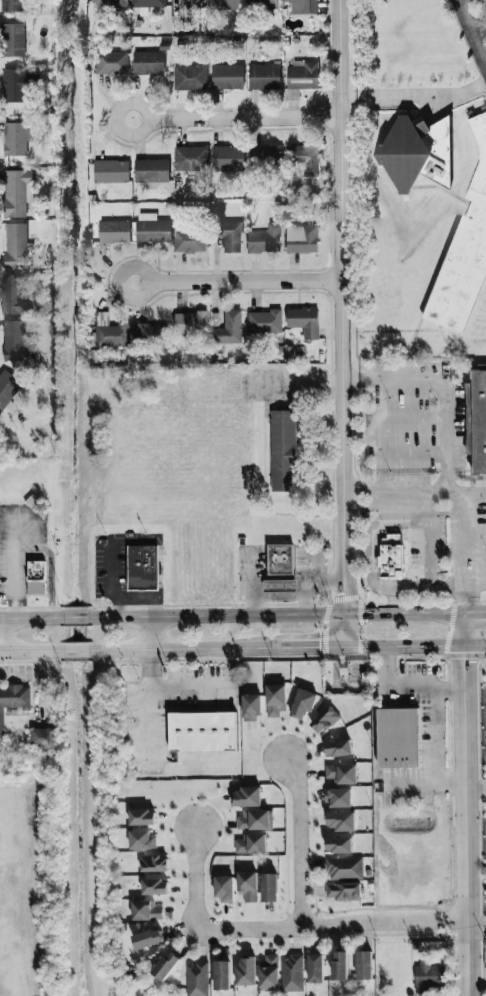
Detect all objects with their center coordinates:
building: (106, 1)
building: (145, 2)
building: (260, 3)
building: (223, 4)
building: (10, 5)
building: (302, 6)
road: (478, 23)
road: (473, 31)
building: (11, 38)
road: (485, 60)
building: (146, 61)
building: (109, 62)
building: (225, 75)
building: (262, 75)
building: (188, 76)
building: (298, 77)
building: (12, 83)
road: (414, 93)
road: (238, 116)
building: (13, 137)
building: (413, 151)
building: (265, 152)
building: (188, 156)
building: (226, 156)
building: (302, 156)
building: (149, 168)
building: (109, 170)
building: (15, 191)
building: (150, 227)
building: (112, 230)
building: (230, 235)
building: (265, 238)
building: (301, 238)
building: (189, 241)
building: (13, 245)
building: (465, 246)
road: (238, 281)
building: (15, 295)
road: (342, 306)
building: (304, 321)
building: (192, 322)
building: (264, 322)
building: (230, 328)
building: (110, 332)
building: (150, 334)
building: (14, 340)
building: (7, 388)
road: (443, 388)
road: (408, 416)
road: (370, 417)
building: (476, 421)
building: (283, 451)
road: (408, 454)
road: (413, 493)
road: (469, 553)
building: (390, 557)
road: (430, 558)
building: (280, 559)
road: (16, 564)
road: (51, 567)
building: (142, 567)
building: (36, 577)
road: (111, 580)
road: (478, 584)
building: (286, 586)
road: (398, 586)
road: (142, 600)
traffic signals: (344, 613)
road: (415, 613)
road: (215, 614)
road: (75, 617)
road: (31, 618)
road: (344, 630)
road: (150, 633)
road: (415, 646)
road: (310, 647)
traffic signals: (345, 647)
road: (183, 649)
road: (76, 650)
road: (31, 651)
road: (173, 687)
road: (407, 687)
building: (276, 699)
building: (12, 701)
building: (303, 703)
building: (251, 707)
building: (324, 720)
road: (152, 724)
building: (203, 732)
building: (43, 737)
road: (435, 737)
building: (398, 738)
building: (338, 748)
building: (341, 773)
road: (425, 786)
road: (476, 786)
building: (247, 797)
building: (337, 797)
road: (467, 804)
building: (142, 817)
building: (253, 819)
building: (340, 820)
building: (143, 840)
road: (297, 840)
building: (251, 843)
building: (339, 845)
building: (154, 864)
building: (344, 868)
road: (195, 878)
building: (155, 887)
building: (248, 887)
building: (269, 888)
building: (224, 889)
building: (344, 891)
building: (146, 911)
road: (332, 924)
road: (477, 926)
building: (149, 939)
building: (167, 966)
building: (342, 966)
building: (365, 966)
building: (316, 968)
building: (246, 971)
building: (270, 973)
building: (293, 974)
building: (222, 975)
building: (428, 976)
building: (198, 979)

